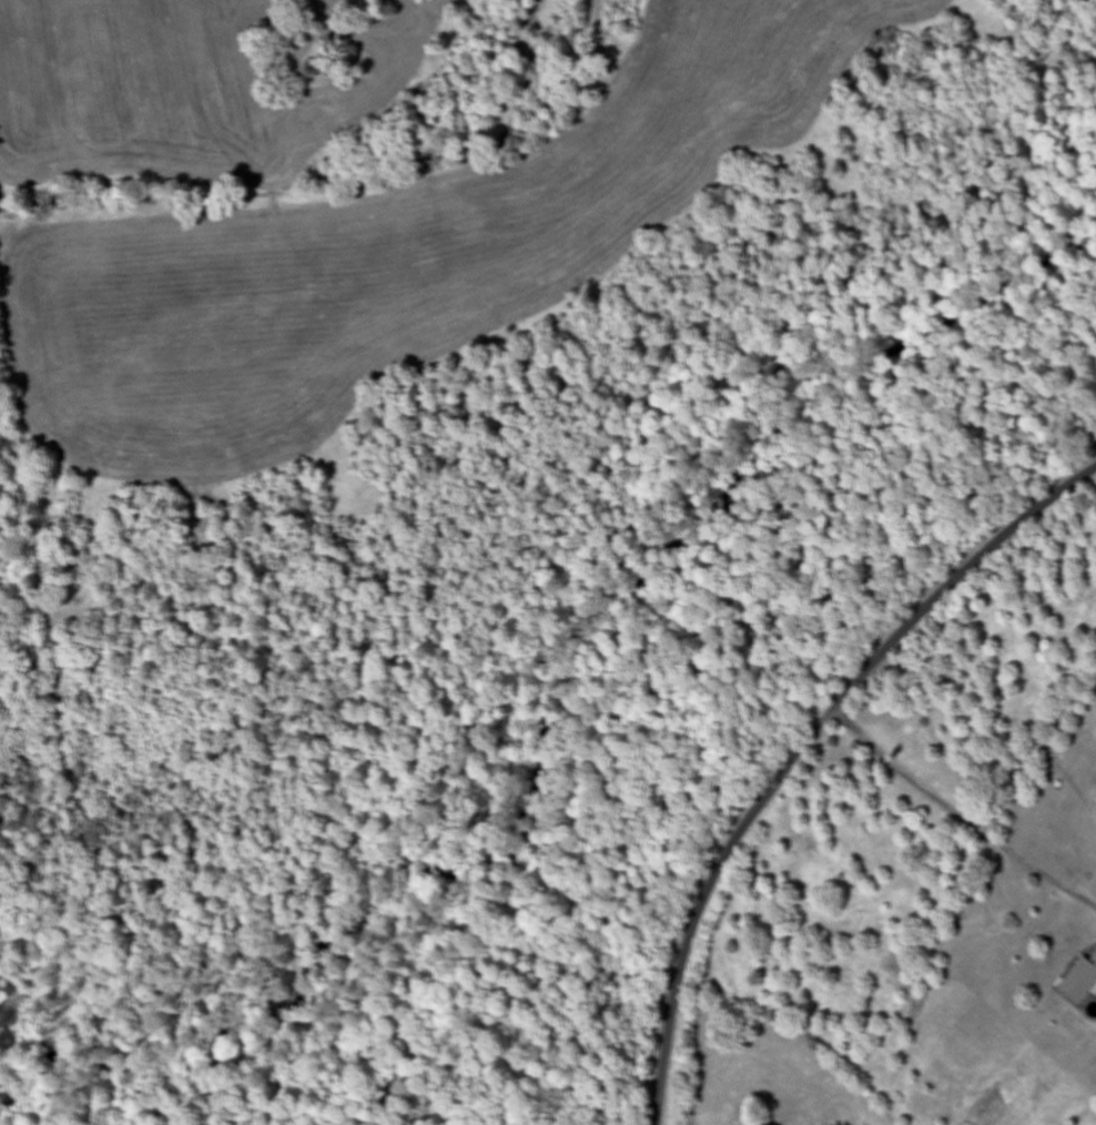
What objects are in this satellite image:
road: (803, 751)
building: (1080, 982)

